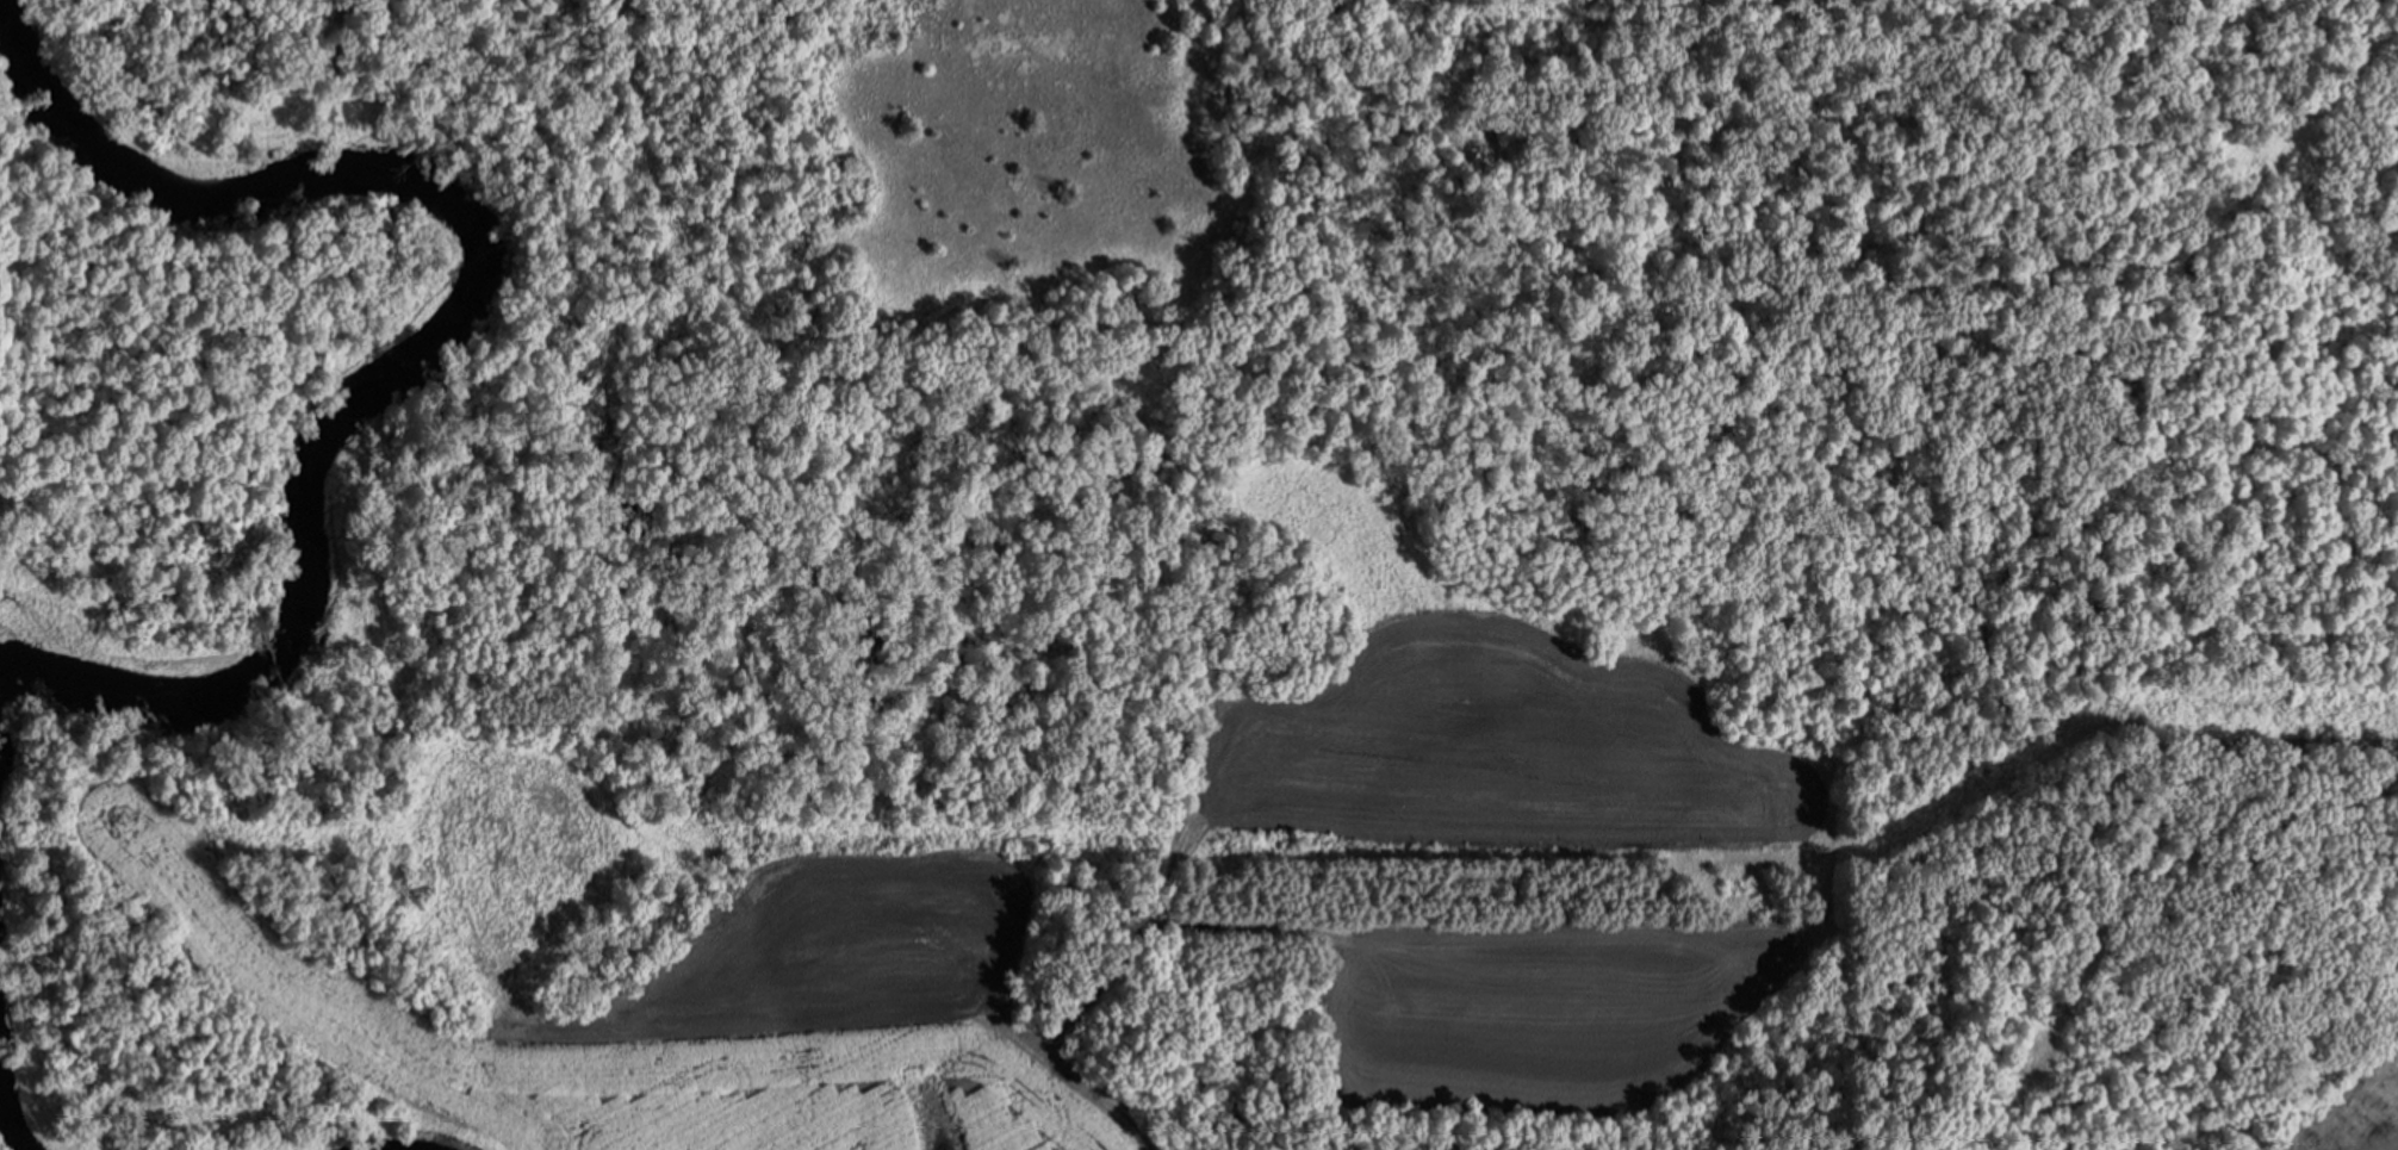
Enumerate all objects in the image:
river: (447, 324)
river: (13, 1118)

